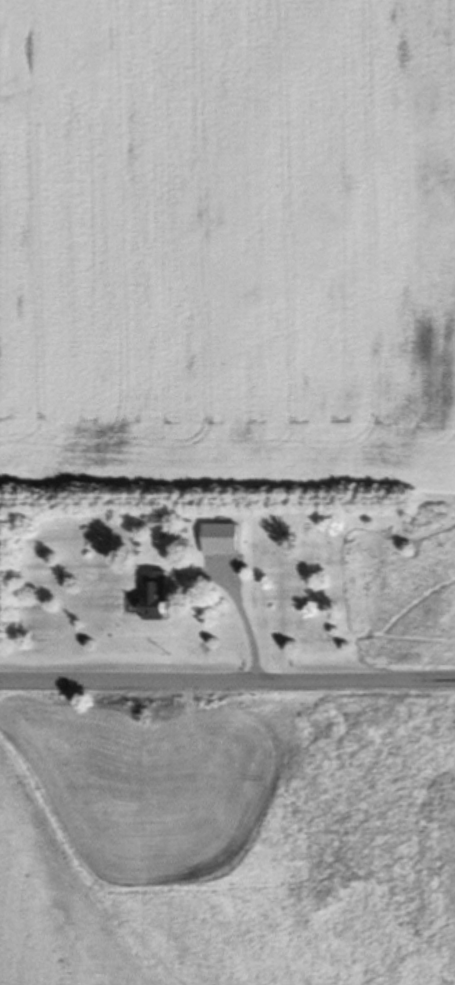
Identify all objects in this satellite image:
building: (160, 599)
road: (241, 609)
road: (227, 681)

